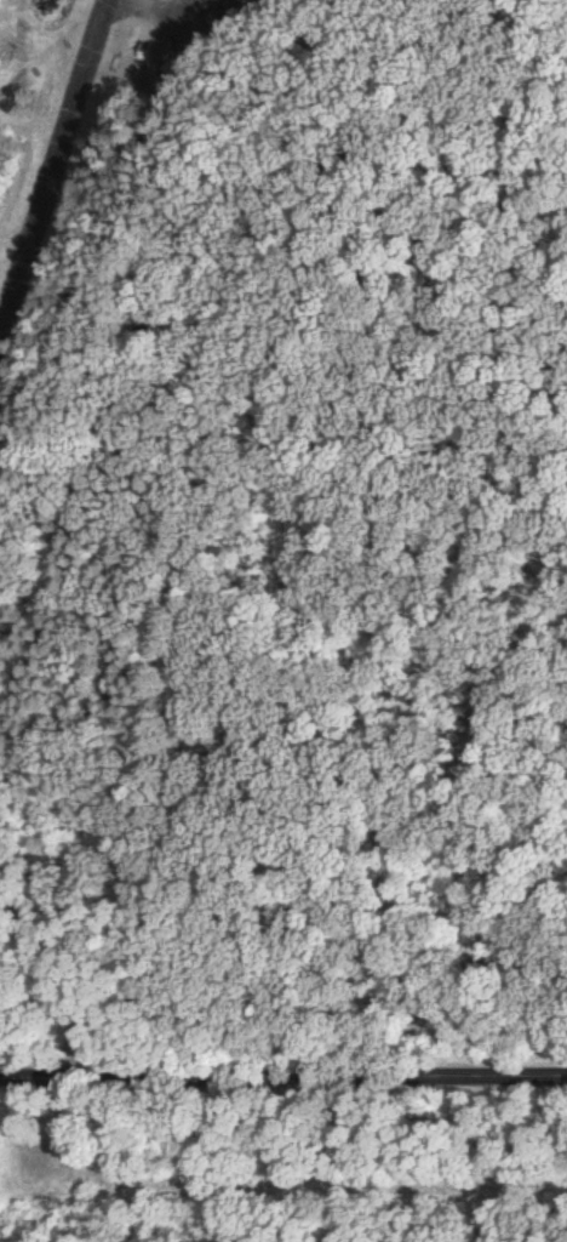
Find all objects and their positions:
building: (252, 4)
road: (51, 970)
road: (283, 1083)

